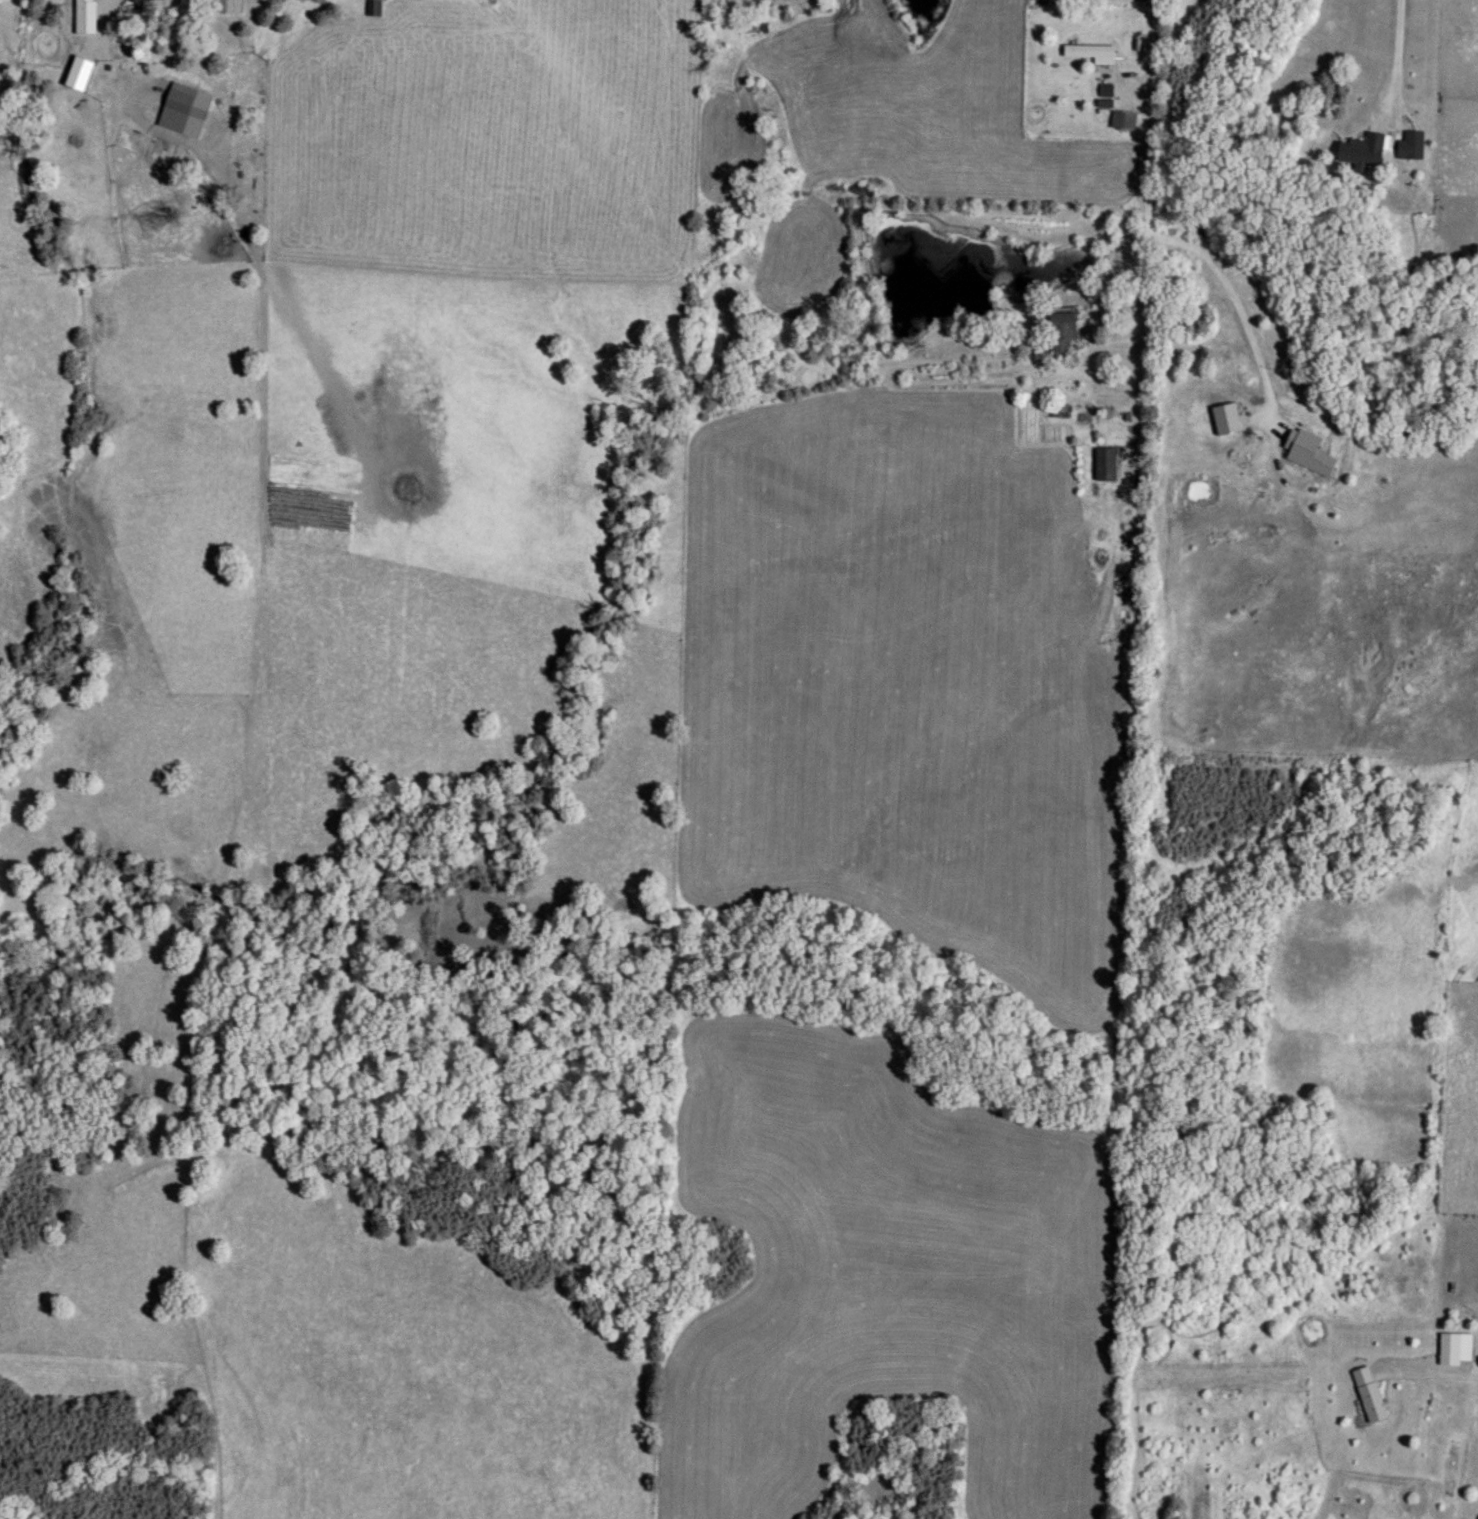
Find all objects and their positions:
building: (150, 1)
building: (375, 8)
building: (87, 16)
building: (759, 25)
building: (1093, 52)
road: (1392, 56)
road: (111, 65)
building: (1107, 90)
building: (179, 107)
building: (1125, 120)
building: (1411, 144)
building: (1364, 149)
road: (1146, 195)
road: (1230, 305)
building: (1064, 329)
building: (1107, 463)
building: (1456, 1349)
road: (1432, 1384)
building: (1371, 1394)

